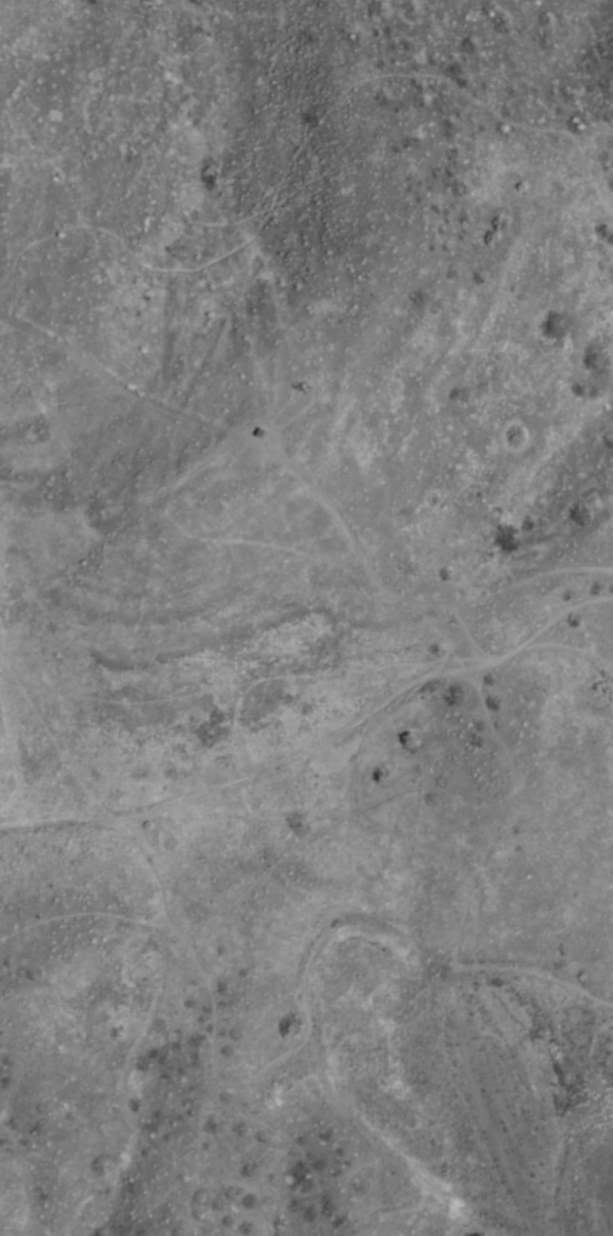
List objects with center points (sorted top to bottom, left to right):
road: (296, 145)
road: (309, 488)
road: (611, 716)
road: (281, 757)
road: (57, 823)
road: (298, 1014)

